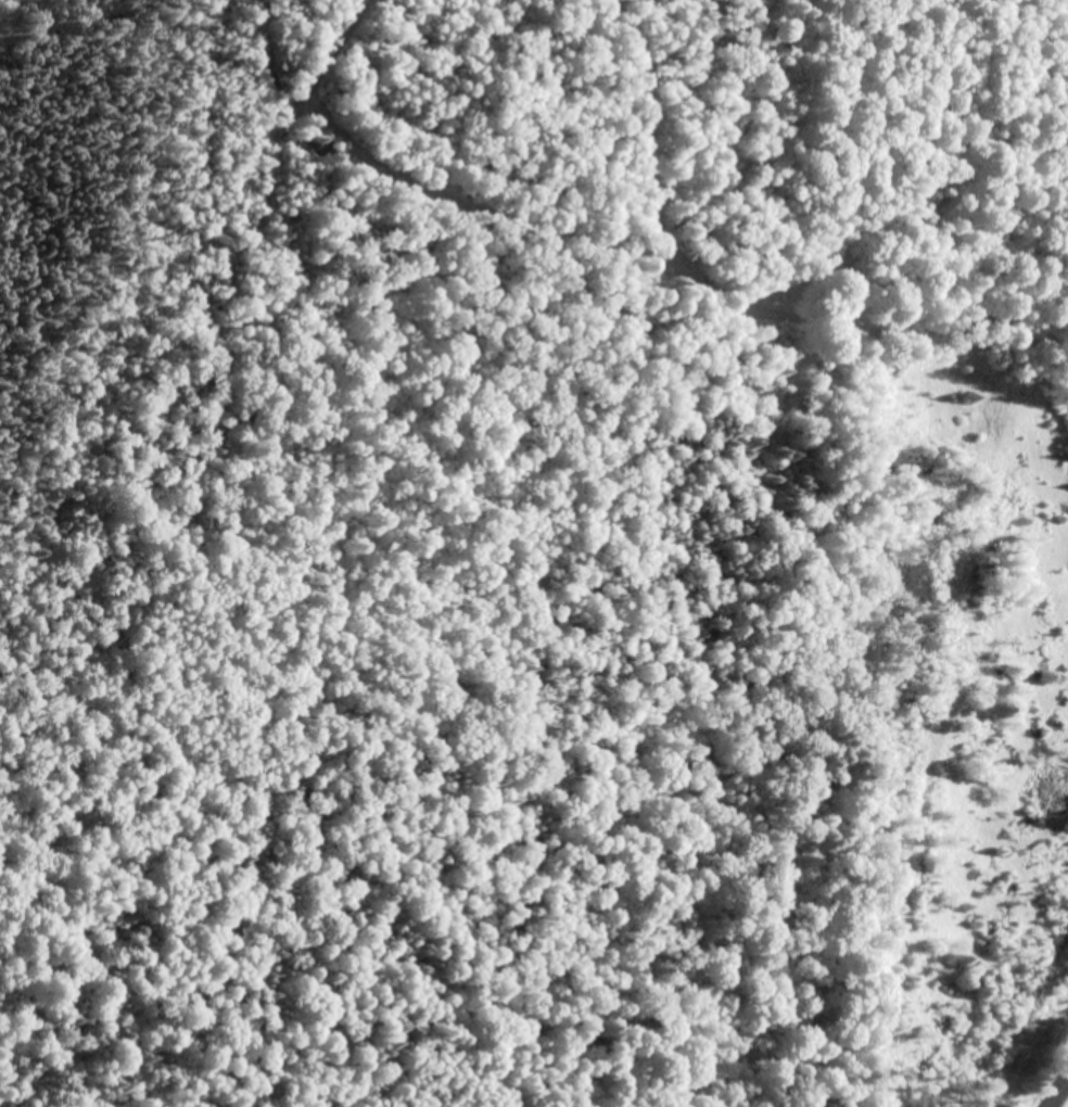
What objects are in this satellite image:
road: (1060, 1095)

